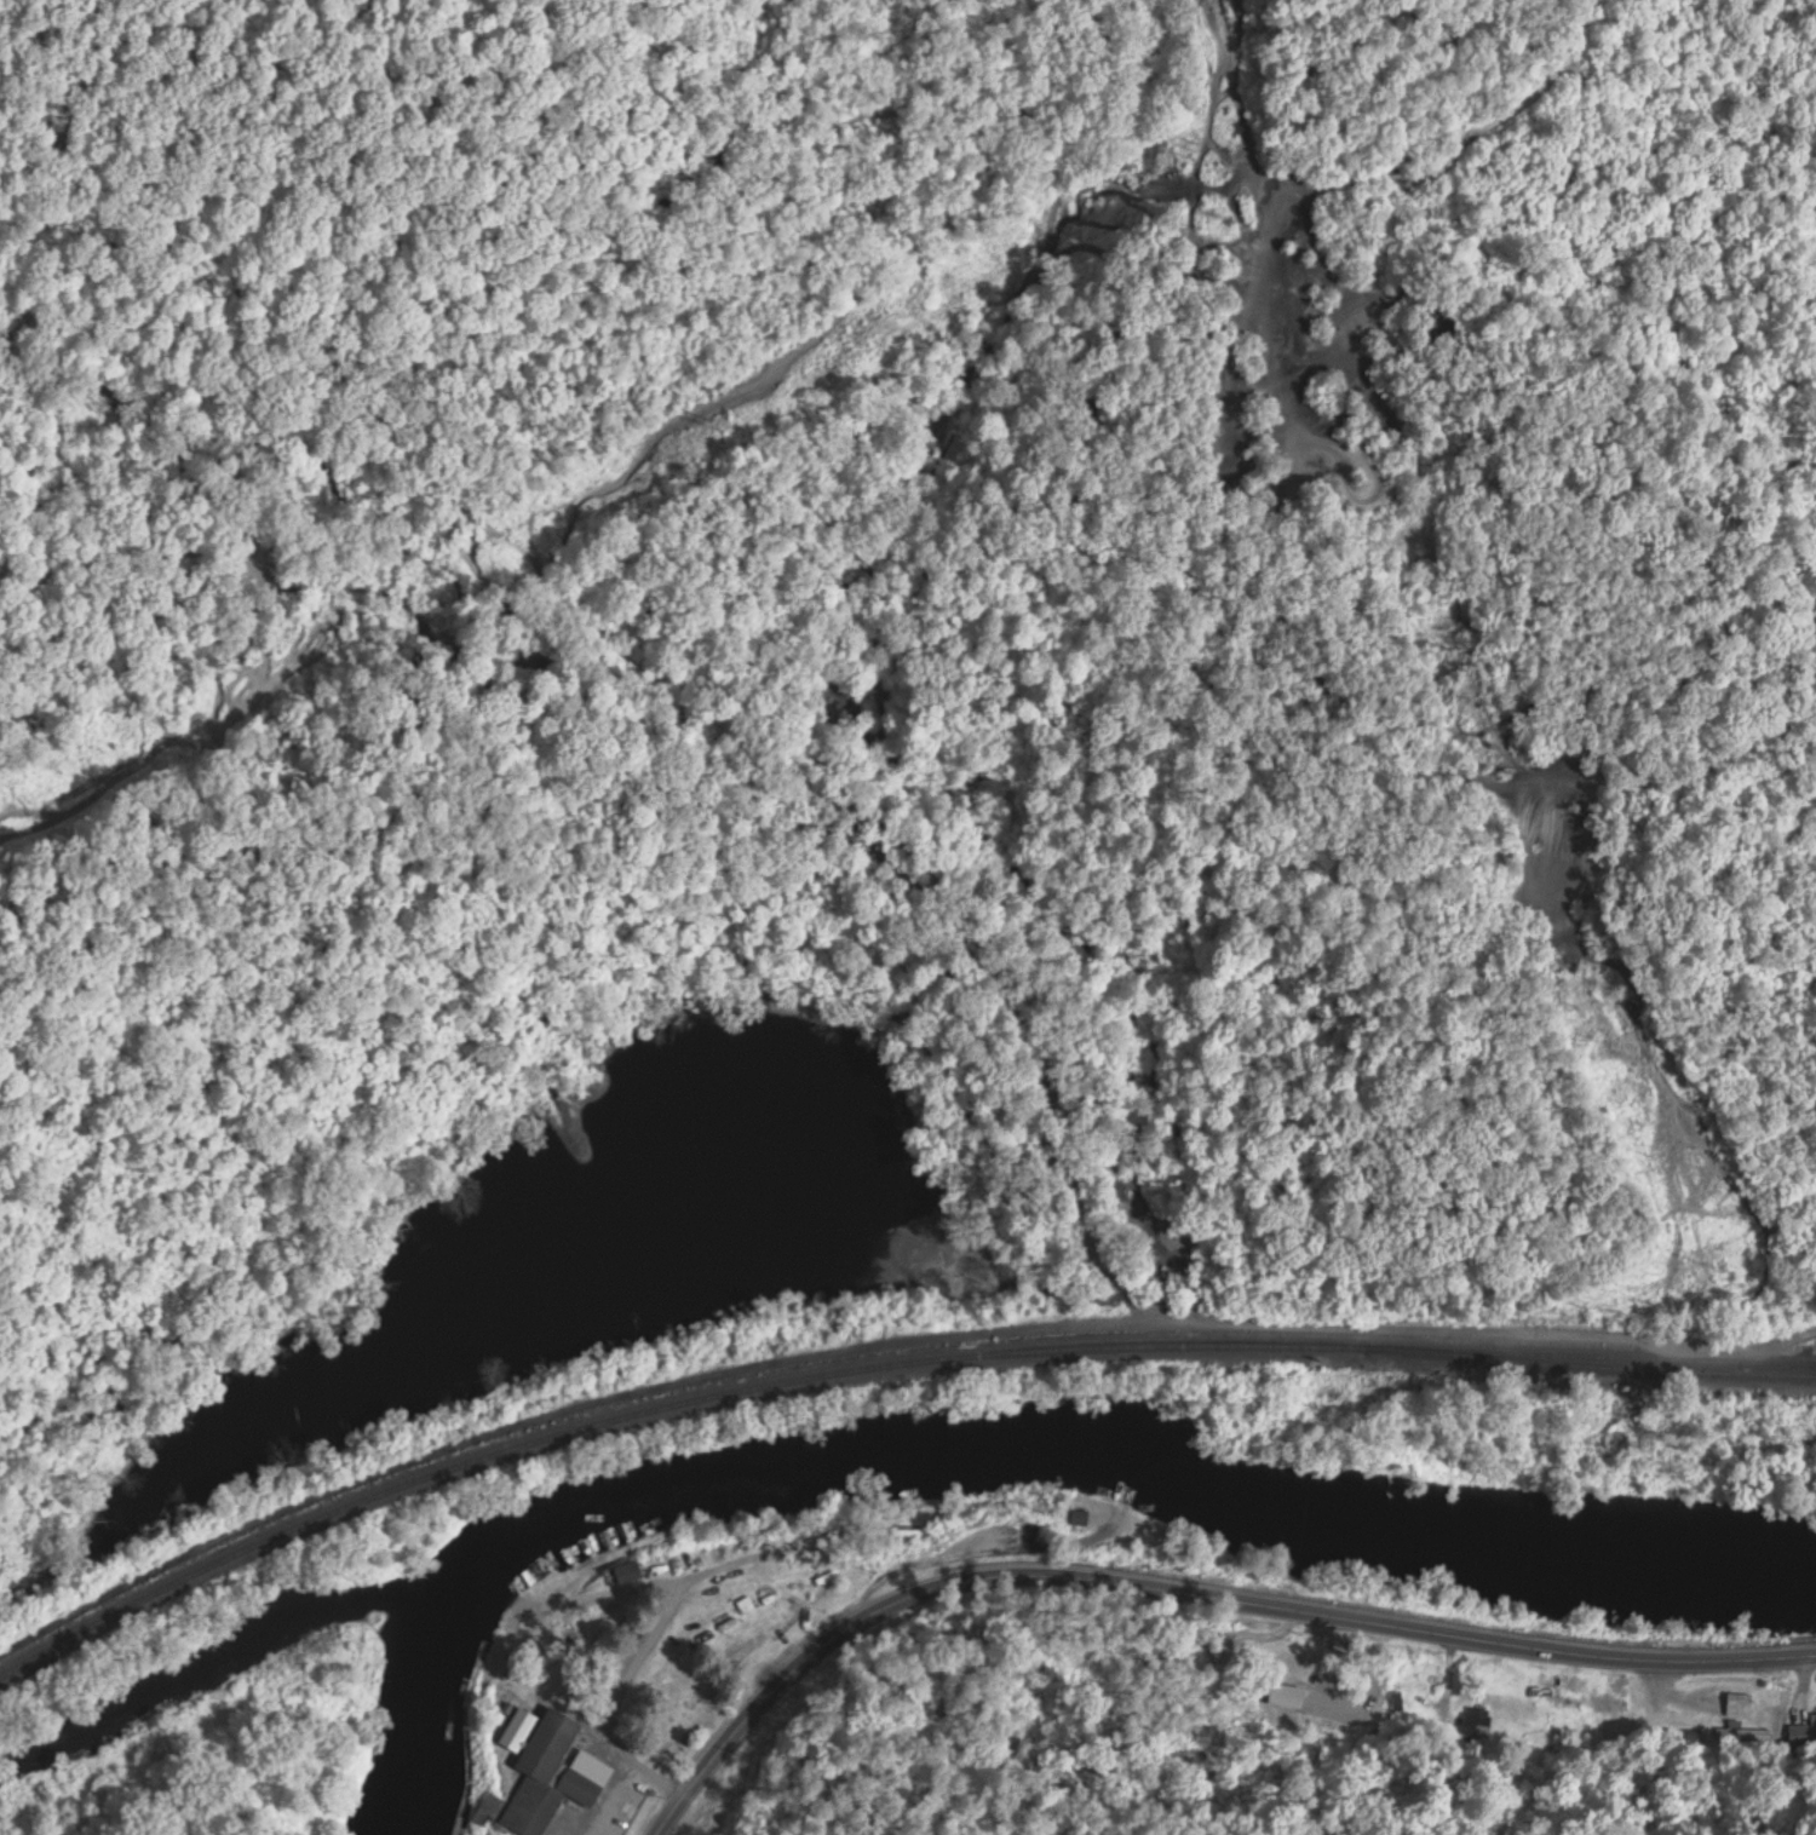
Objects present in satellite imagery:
power tower: (1226, 219)
power tower: (1363, 473)
power tower: (1476, 692)
road: (907, 695)
power tower: (1614, 986)
railway: (1780, 1358)
railway: (1593, 1363)
railway: (878, 1364)
railway: (791, 1368)
river: (987, 1448)
building: (907, 1529)
building: (625, 1572)
road: (1183, 1592)
building: (1739, 1703)
building: (1476, 1720)
building: (519, 1727)
building: (1740, 1732)
building: (548, 1774)

